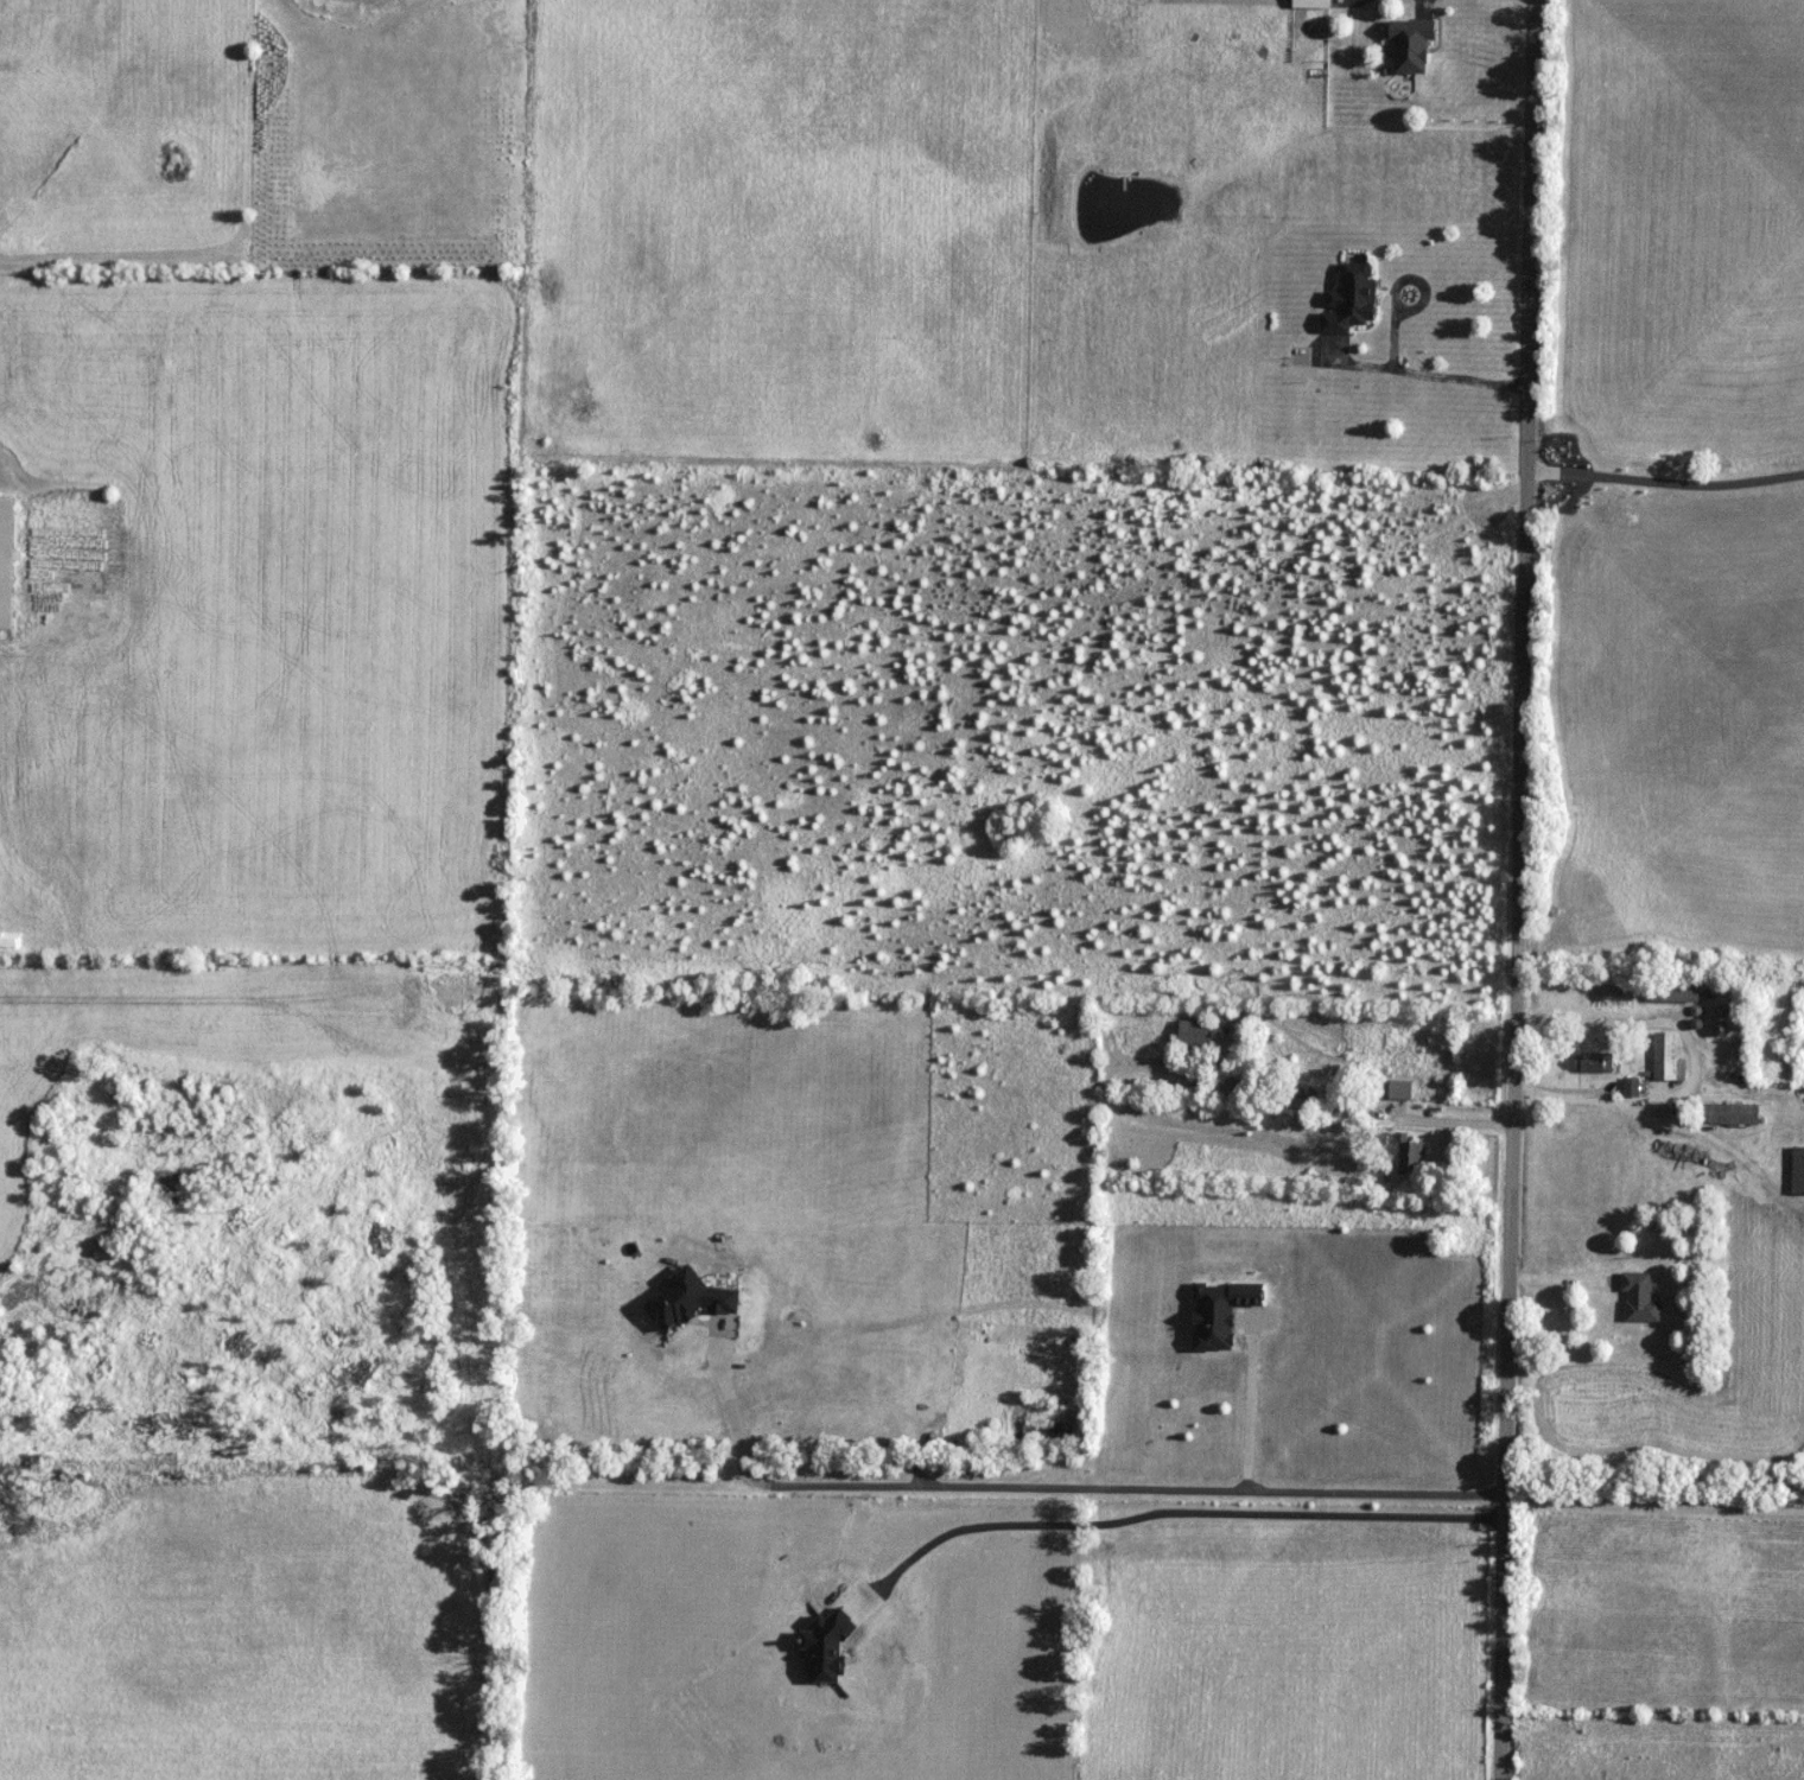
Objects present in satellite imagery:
building: (1309, 5)
road: (1424, 6)
building: (1410, 46)
building: (1349, 301)
road: (1430, 374)
road: (1670, 482)
building: (7, 562)
road: (1526, 890)
building: (1675, 988)
building: (1194, 1038)
building: (1668, 1059)
building: (1594, 1062)
building: (1632, 1087)
building: (1399, 1091)
building: (1730, 1114)
building: (1409, 1153)
building: (1798, 1171)
building: (1640, 1298)
road: (1056, 1489)
road: (1658, 1507)
road: (1173, 1512)

